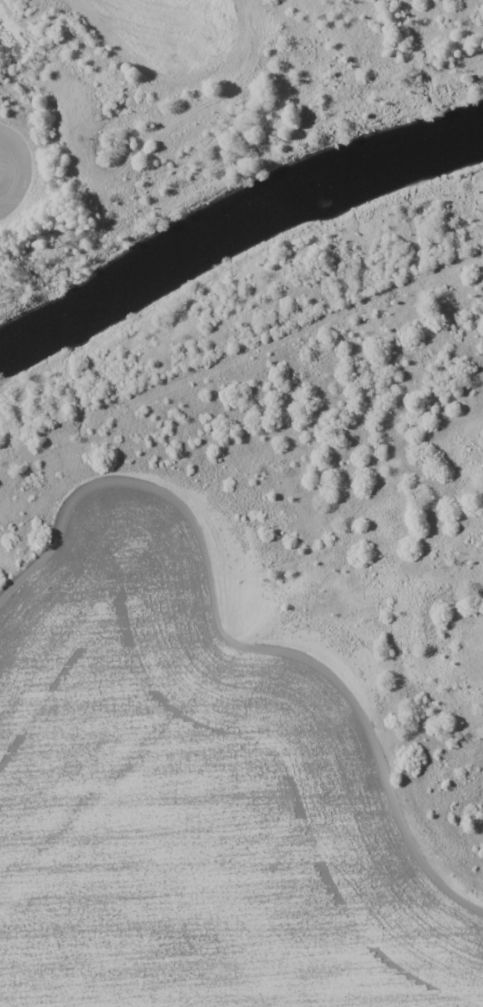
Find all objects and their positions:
road: (198, 108)

